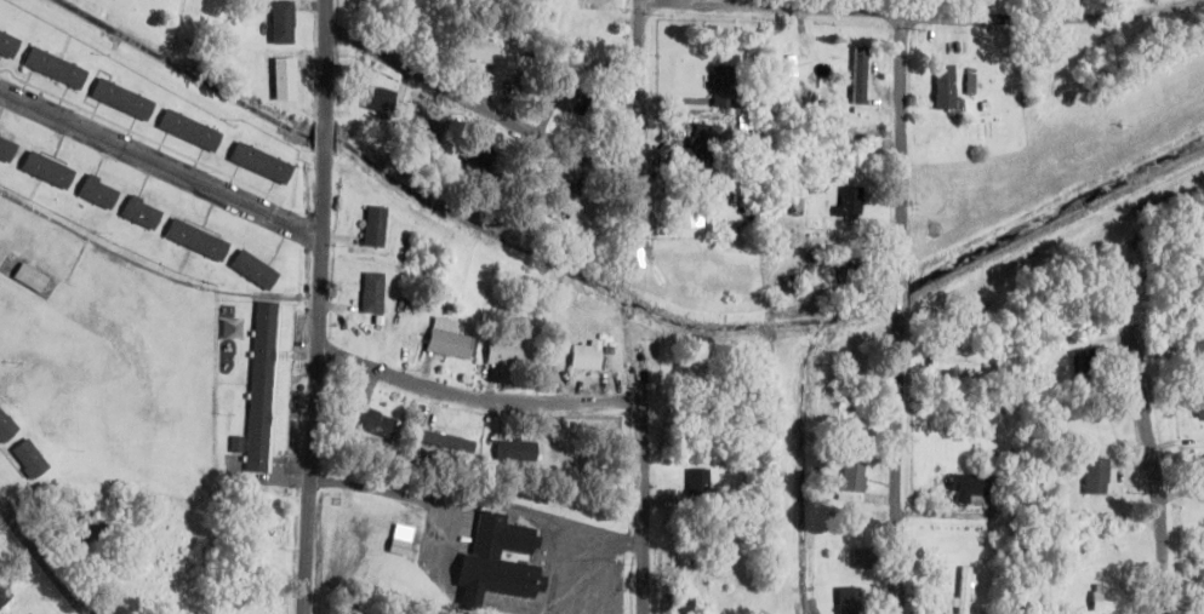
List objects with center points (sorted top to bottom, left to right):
building: (109, 0)
road: (770, 7)
road: (946, 16)
building: (281, 23)
building: (6, 46)
building: (475, 51)
building: (788, 63)
building: (51, 68)
building: (281, 80)
building: (723, 87)
building: (941, 96)
building: (119, 99)
building: (569, 99)
building: (377, 101)
road: (483, 107)
building: (832, 111)
building: (427, 128)
road: (640, 128)
building: (187, 130)
building: (6, 149)
building: (697, 150)
building: (473, 160)
building: (257, 162)
road: (160, 165)
building: (757, 167)
building: (45, 170)
building: (96, 193)
building: (848, 202)
building: (572, 208)
building: (139, 213)
building: (686, 217)
building: (372, 226)
building: (194, 240)
building: (250, 270)
building: (844, 272)
building: (32, 277)
building: (371, 293)
road: (320, 306)
road: (897, 315)
building: (447, 344)
building: (508, 354)
building: (583, 356)
building: (1203, 361)
building: (1082, 365)
building: (952, 366)
building: (261, 388)
road: (474, 394)
building: (1200, 413)
building: (375, 423)
building: (5, 427)
building: (445, 440)
building: (517, 452)
building: (25, 459)
building: (1200, 467)
road: (1153, 475)
building: (850, 476)
building: (1094, 476)
building: (697, 484)
building: (966, 489)
road: (478, 505)
road: (638, 506)
building: (86, 529)
road: (444, 543)
parking lot: (438, 552)
road: (44, 558)
building: (862, 558)
building: (492, 563)
building: (257, 568)
road: (557, 570)
parking lot: (576, 575)
road: (605, 576)
building: (962, 590)
building: (4, 592)
building: (846, 599)
building: (1107, 599)
building: (942, 601)
building: (677, 603)

